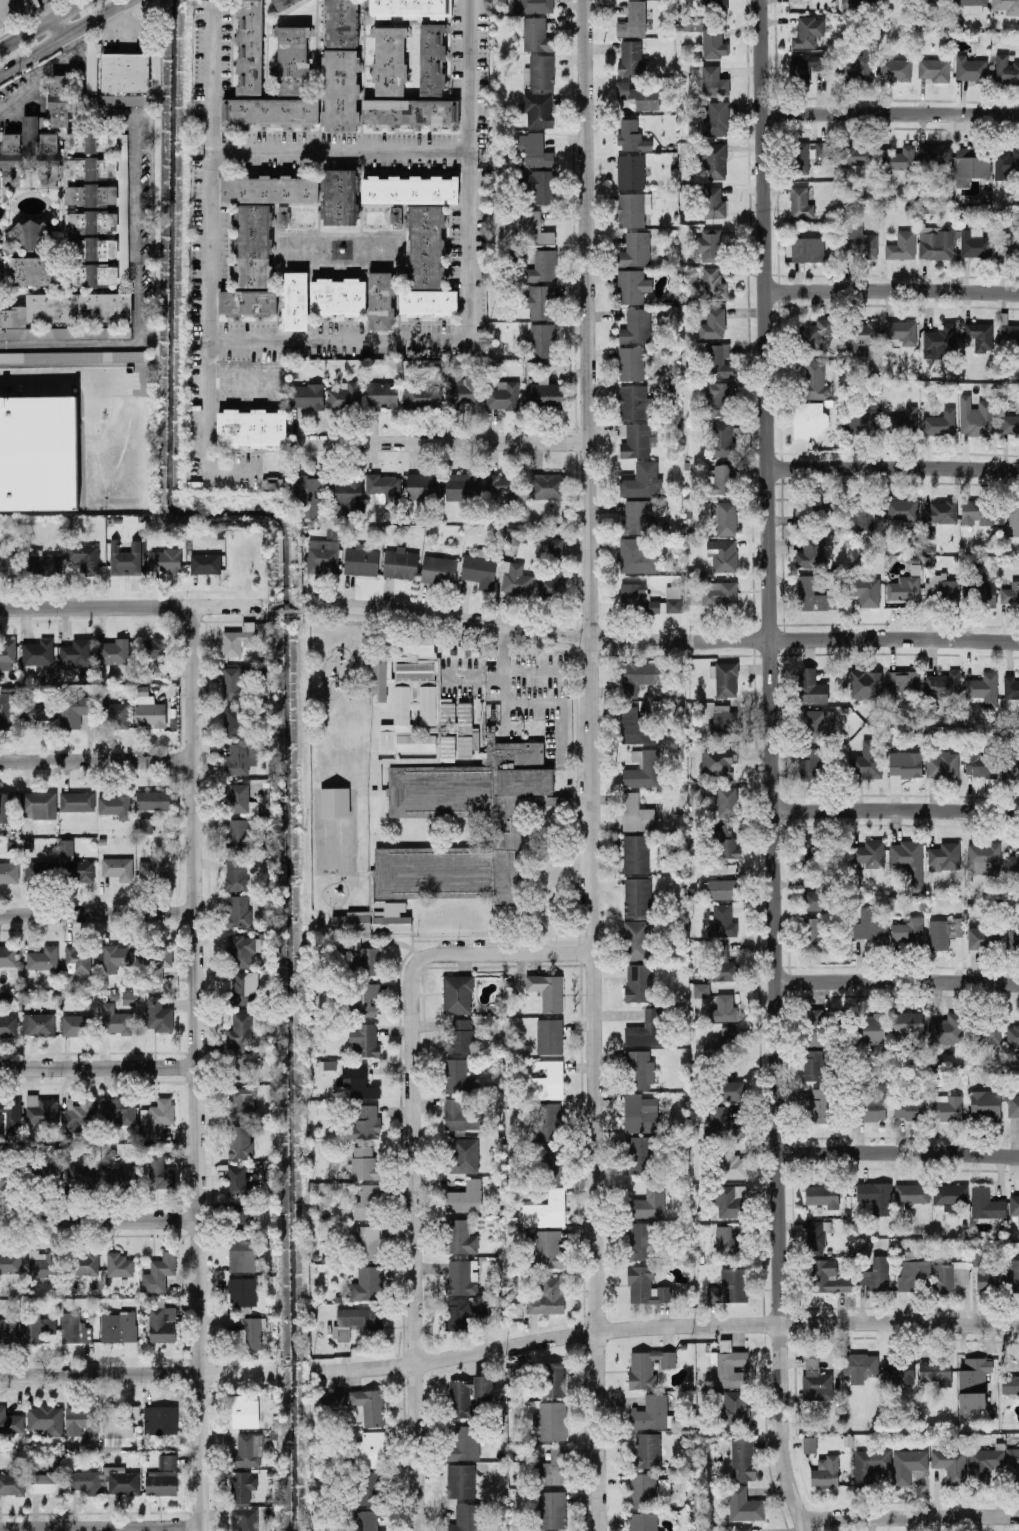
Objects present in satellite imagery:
building: (793, 0)
building: (844, 0)
building: (888, 0)
road: (4, 2)
building: (281, 3)
building: (716, 5)
building: (536, 6)
road: (43, 8)
building: (409, 8)
building: (632, 20)
road: (38, 22)
road: (118, 22)
building: (340, 23)
road: (55, 26)
building: (807, 31)
building: (536, 34)
road: (61, 35)
building: (713, 42)
building: (249, 47)
building: (630, 56)
building: (431, 58)
building: (291, 59)
building: (389, 60)
building: (91, 64)
building: (858, 64)
building: (804, 66)
building: (970, 68)
building: (895, 69)
building: (934, 69)
building: (1005, 69)
building: (125, 70)
building: (540, 71)
road: (38, 77)
building: (713, 81)
building: (340, 90)
building: (638, 93)
building: (125, 99)
building: (59, 100)
building: (538, 109)
building: (270, 111)
building: (408, 112)
road: (888, 113)
building: (715, 118)
building: (632, 135)
building: (41, 149)
building: (534, 149)
building: (10, 150)
road: (340, 151)
building: (824, 151)
building: (857, 153)
building: (934, 154)
building: (799, 157)
building: (897, 158)
building: (714, 160)
building: (1005, 162)
building: (970, 163)
building: (630, 171)
building: (538, 186)
building: (269, 188)
building: (409, 189)
building: (339, 196)
building: (713, 202)
building: (800, 202)
building: (632, 208)
building: (282, 216)
building: (86, 218)
road: (140, 227)
building: (533, 228)
building: (32, 233)
building: (860, 241)
building: (1011, 242)
building: (973, 243)
building: (708, 244)
building: (252, 245)
building: (901, 245)
building: (425, 246)
building: (635, 249)
building: (807, 249)
building: (542, 266)
road: (206, 272)
building: (712, 283)
building: (632, 286)
road: (890, 290)
building: (337, 296)
building: (295, 300)
building: (380, 300)
building: (539, 301)
building: (247, 302)
building: (427, 302)
road: (469, 302)
building: (68, 315)
building: (712, 324)
building: (636, 326)
building: (901, 330)
building: (814, 333)
building: (862, 334)
building: (979, 335)
building: (1009, 335)
building: (540, 339)
building: (939, 341)
building: (74, 356)
building: (717, 360)
building: (630, 363)
road: (60, 377)
building: (815, 380)
building: (466, 387)
building: (546, 392)
building: (307, 395)
building: (344, 395)
building: (381, 395)
building: (421, 395)
building: (502, 395)
road: (87, 398)
building: (718, 398)
building: (633, 401)
building: (975, 416)
building: (809, 419)
building: (901, 420)
building: (864, 421)
building: (940, 422)
building: (1009, 423)
building: (250, 424)
building: (721, 438)
building: (634, 440)
road: (440, 441)
building: (38, 452)
road: (891, 466)
building: (719, 479)
building: (641, 480)
building: (498, 484)
building: (423, 485)
building: (462, 485)
building: (547, 485)
building: (382, 486)
building: (346, 492)
building: (309, 495)
building: (821, 507)
building: (901, 510)
building: (939, 511)
building: (976, 511)
building: (862, 513)
building: (636, 517)
building: (1012, 517)
building: (725, 518)
building: (720, 553)
building: (810, 553)
building: (322, 555)
building: (635, 556)
building: (84, 557)
building: (124, 557)
building: (164, 559)
building: (360, 560)
building: (43, 562)
building: (205, 562)
building: (399, 562)
building: (9, 565)
building: (560, 568)
building: (438, 569)
building: (479, 570)
building: (514, 578)
building: (940, 587)
building: (903, 588)
road: (127, 590)
building: (864, 590)
building: (981, 591)
building: (1010, 592)
building: (719, 594)
building: (809, 594)
building: (638, 598)
building: (673, 604)
road: (129, 605)
road: (284, 609)
road: (303, 609)
road: (139, 618)
road: (397, 625)
building: (237, 639)
road: (661, 639)
building: (413, 645)
building: (76, 651)
building: (112, 651)
building: (155, 651)
building: (6, 652)
building: (36, 652)
road: (533, 669)
building: (638, 676)
road: (472, 678)
building: (726, 679)
building: (377, 681)
building: (233, 682)
road: (503, 682)
building: (904, 683)
building: (865, 684)
building: (942, 685)
building: (1011, 686)
building: (812, 687)
building: (982, 688)
road: (561, 704)
building: (411, 706)
building: (147, 709)
building: (23, 710)
building: (72, 710)
building: (116, 714)
building: (458, 717)
building: (235, 720)
building: (722, 720)
building: (817, 724)
building: (635, 726)
road: (152, 743)
building: (239, 757)
road: (97, 759)
building: (718, 759)
building: (866, 760)
building: (980, 761)
building: (905, 763)
building: (941, 763)
building: (1011, 764)
road: (590, 765)
building: (811, 766)
road: (768, 767)
building: (643, 770)
building: (152, 799)
building: (240, 799)
building: (76, 801)
building: (334, 801)
building: (727, 801)
building: (38, 803)
building: (114, 803)
building: (6, 806)
road: (894, 808)
building: (635, 813)
building: (145, 824)
building: (506, 830)
building: (237, 832)
building: (725, 842)
building: (65, 846)
building: (806, 850)
building: (638, 853)
building: (870, 853)
building: (944, 856)
building: (983, 857)
building: (908, 861)
building: (1011, 863)
building: (117, 867)
building: (76, 870)
building: (151, 870)
building: (8, 871)
building: (236, 872)
building: (721, 888)
building: (637, 896)
building: (812, 898)
building: (238, 910)
road: (97, 913)
building: (392, 917)
building: (351, 921)
building: (721, 921)
building: (869, 925)
building: (945, 928)
building: (907, 931)
building: (814, 934)
building: (981, 937)
building: (1012, 937)
building: (636, 939)
building: (240, 950)
road: (502, 952)
building: (8, 955)
building: (114, 957)
building: (42, 958)
building: (77, 959)
building: (158, 962)
building: (365, 962)
building: (723, 966)
road: (895, 981)
building: (638, 982)
building: (242, 987)
building: (701, 989)
building: (547, 990)
building: (457, 994)
building: (365, 999)
building: (722, 1009)
building: (158, 1014)
building: (114, 1019)
building: (38, 1024)
building: (8, 1025)
building: (77, 1025)
building: (908, 1025)
building: (815, 1026)
building: (646, 1028)
building: (239, 1029)
building: (869, 1029)
building: (947, 1029)
building: (986, 1033)
building: (549, 1035)
building: (1012, 1035)
building: (459, 1036)
building: (363, 1039)
building: (721, 1042)
building: (239, 1064)
building: (813, 1064)
road: (98, 1067)
road: (197, 1068)
building: (638, 1068)
building: (457, 1075)
building: (547, 1080)
building: (357, 1082)
building: (730, 1088)
building: (241, 1102)
building: (873, 1102)
building: (819, 1104)
building: (1013, 1104)
building: (985, 1105)
building: (910, 1107)
building: (946, 1107)
building: (40, 1110)
building: (117, 1110)
building: (639, 1113)
building: (10, 1114)
building: (79, 1115)
building: (459, 1115)
building: (155, 1117)
building: (547, 1120)
building: (363, 1121)
building: (723, 1123)
building: (240, 1141)
road: (896, 1150)
building: (638, 1154)
building: (463, 1155)
building: (364, 1163)
building: (553, 1163)
building: (730, 1164)
building: (159, 1171)
building: (44, 1175)
building: (83, 1175)
building: (121, 1177)
building: (5, 1179)
building: (238, 1181)
building: (912, 1193)
building: (949, 1193)
building: (822, 1195)
building: (876, 1196)
building: (464, 1197)
building: (368, 1201)
building: (730, 1201)
building: (648, 1202)
building: (985, 1203)
building: (1014, 1204)
building: (545, 1210)
building: (241, 1214)
road: (99, 1221)
building: (460, 1236)
building: (815, 1236)
building: (640, 1240)
building: (367, 1242)
building: (726, 1242)
road: (413, 1246)
building: (548, 1248)
building: (241, 1255)
building: (10, 1262)
building: (40, 1263)
building: (86, 1263)
building: (118, 1264)
building: (158, 1273)
building: (875, 1273)
building: (914, 1274)
building: (949, 1275)
building: (462, 1276)
building: (828, 1276)
building: (1014, 1276)
building: (989, 1278)
building: (367, 1283)
building: (729, 1285)
building: (645, 1286)
building: (243, 1292)
building: (547, 1296)
building: (483, 1311)
building: (457, 1314)
building: (355, 1320)
building: (162, 1324)
building: (9, 1326)
building: (35, 1326)
building: (118, 1326)
road: (664, 1326)
building: (74, 1328)
building: (249, 1334)
building: (859, 1366)
building: (647, 1367)
building: (731, 1369)
building: (898, 1369)
road: (136, 1371)
building: (935, 1371)
building: (552, 1379)
building: (815, 1380)
building: (972, 1384)
building: (1009, 1384)
building: (483, 1386)
building: (459, 1398)
building: (358, 1404)
building: (734, 1406)
building: (244, 1411)
building: (651, 1412)
building: (45, 1418)
building: (160, 1419)
building: (81, 1420)
building: (10, 1422)
building: (118, 1422)
building: (463, 1441)
building: (809, 1444)
building: (248, 1449)
building: (370, 1449)
building: (645, 1451)
building: (742, 1458)
building: (984, 1462)
building: (950, 1463)
building: (869, 1464)
building: (907, 1464)
building: (1012, 1464)
building: (551, 1467)
building: (825, 1471)
building: (162, 1478)
building: (122, 1480)
building: (460, 1480)
building: (85, 1481)
building: (46, 1482)
building: (12, 1483)
building: (242, 1486)
building: (368, 1487)
building: (642, 1489)
building: (743, 1505)
building: (551, 1509)
road: (908, 1515)
building: (245, 1518)
building: (464, 1518)
building: (367, 1520)
building: (642, 1521)
road: (100, 1527)
building: (742, 1528)

